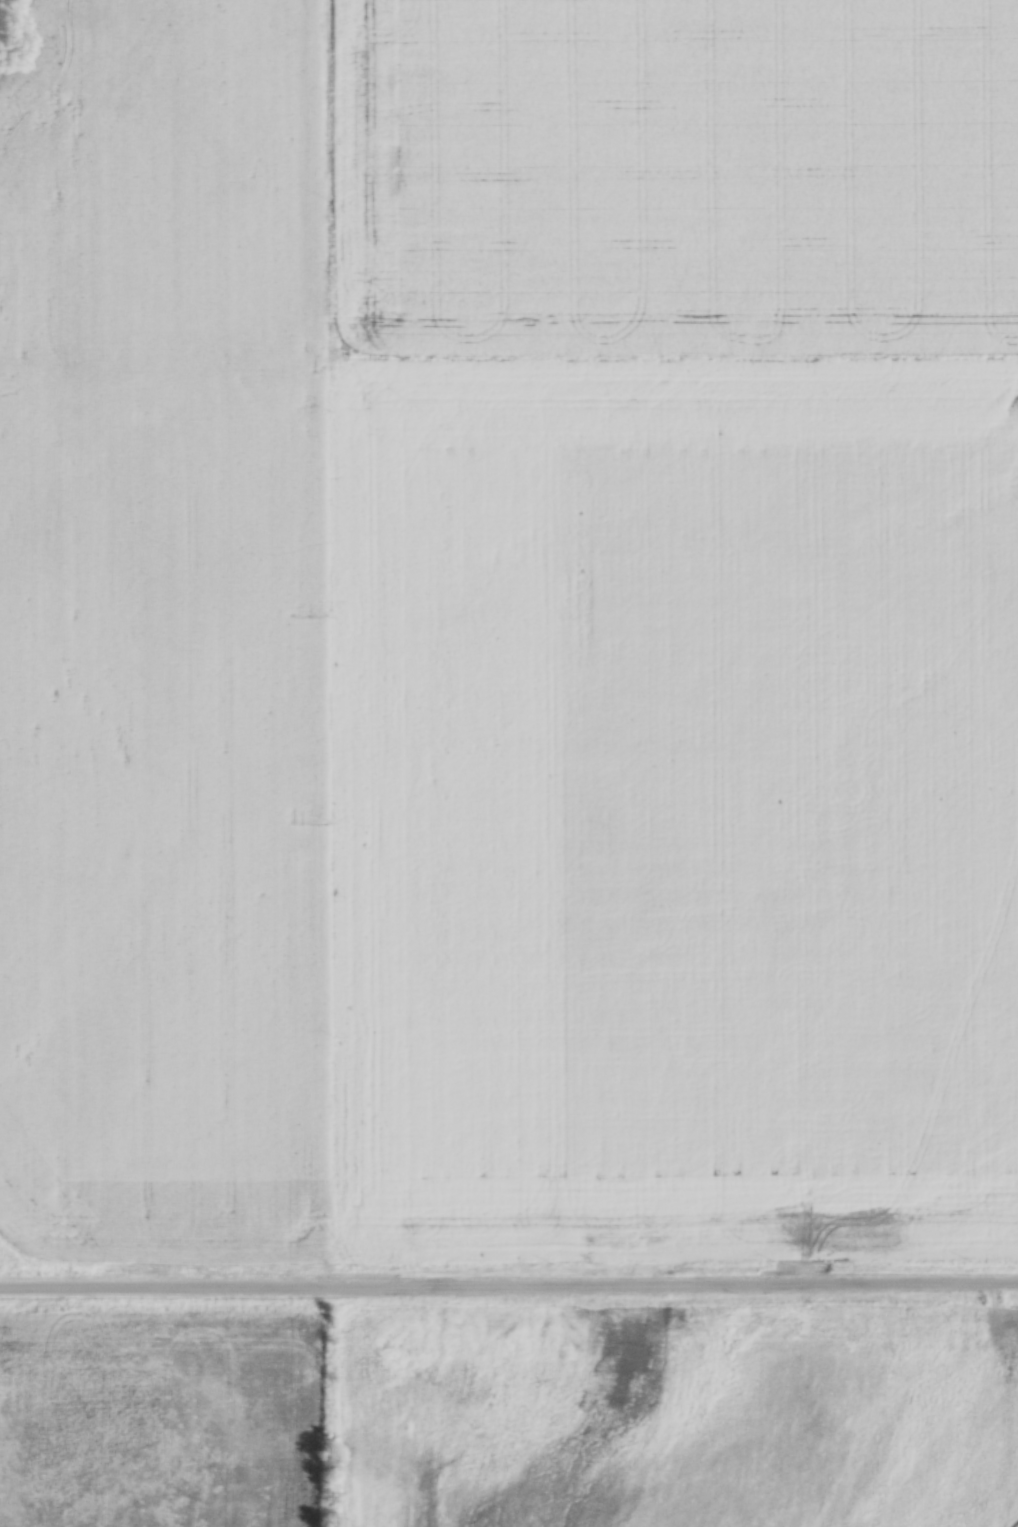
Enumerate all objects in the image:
road: (508, 1288)

